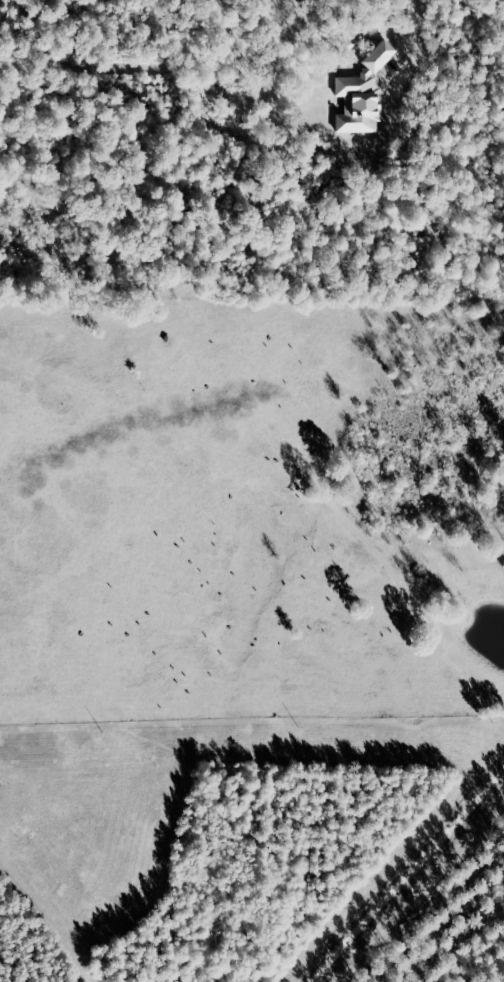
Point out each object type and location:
building: (362, 95)
road: (412, 872)
road: (45, 924)

